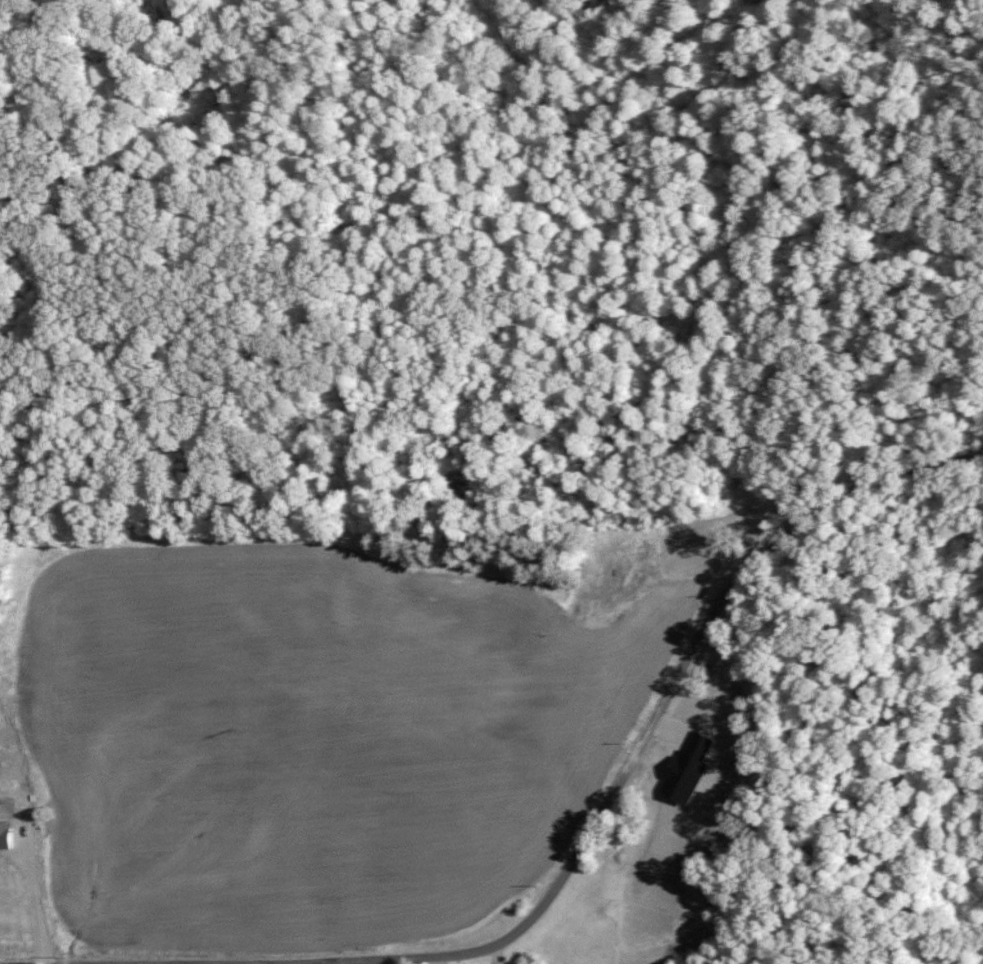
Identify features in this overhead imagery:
road: (467, 30)
road: (634, 751)

